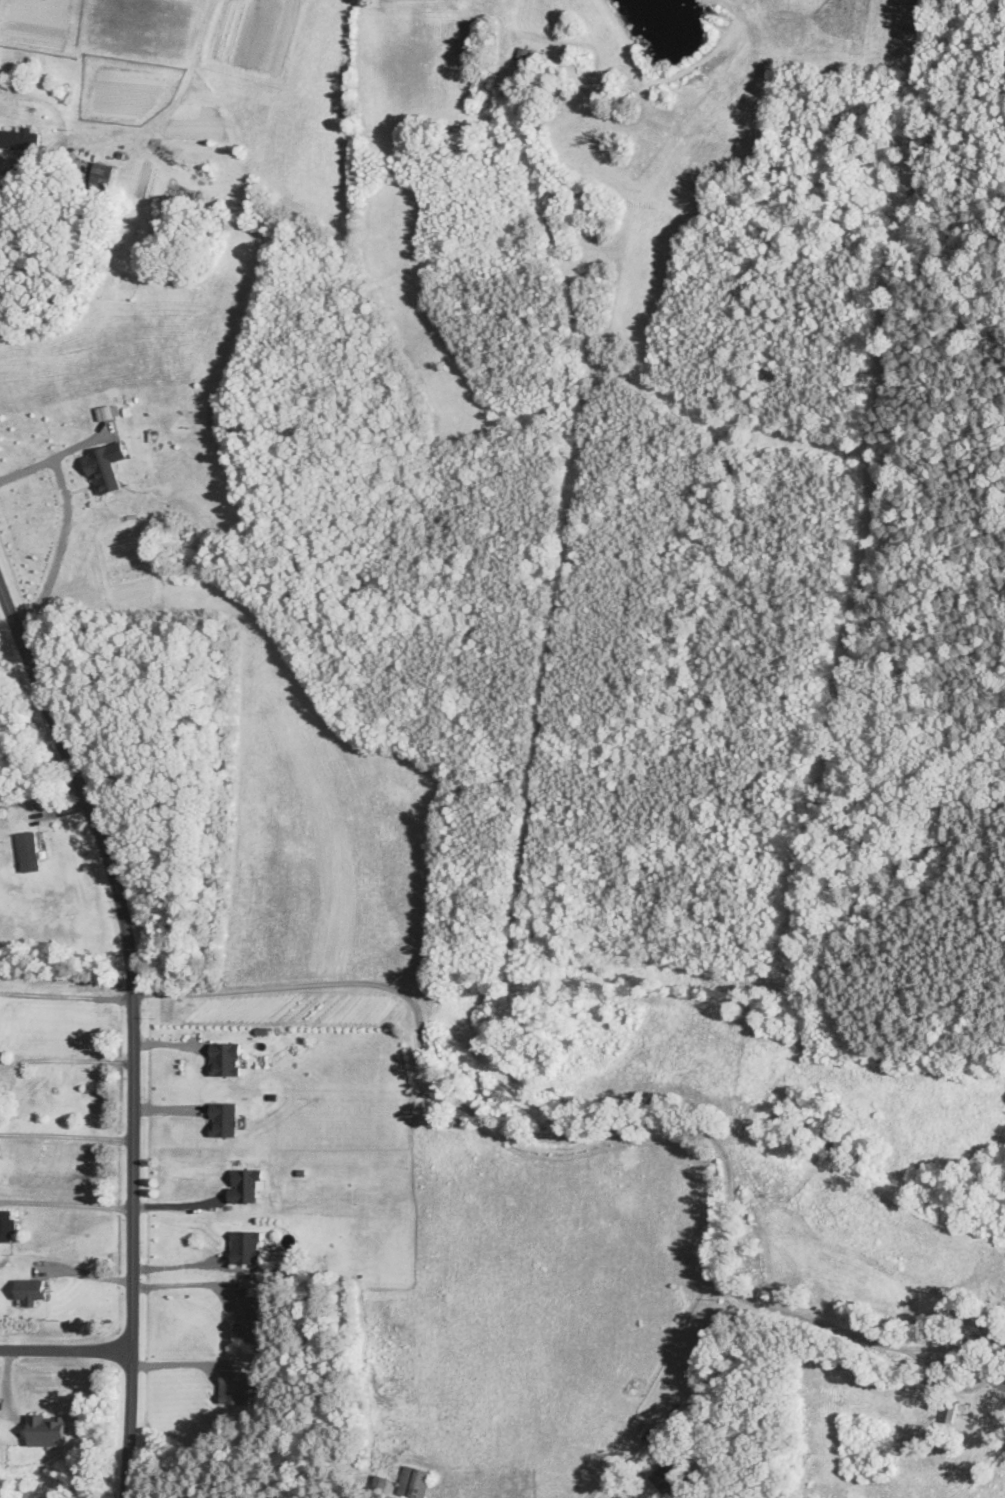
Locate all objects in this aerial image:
building: (523, 54)
building: (21, 139)
building: (100, 177)
road: (55, 457)
road: (60, 546)
building: (11, 756)
building: (29, 852)
road: (66, 994)
road: (132, 1028)
road: (66, 1058)
building: (226, 1059)
building: (224, 1120)
road: (643, 1121)
road: (66, 1134)
building: (245, 1186)
road: (66, 1204)
building: (7, 1226)
building: (247, 1248)
road: (182, 1290)
building: (31, 1291)
building: (963, 1311)
building: (983, 1319)
building: (249, 1320)
building: (956, 1337)
building: (995, 1341)
road: (66, 1348)
building: (235, 1387)
building: (949, 1411)
building: (47, 1430)
road: (618, 1465)
building: (666, 1477)
building: (416, 1482)
building: (383, 1483)

